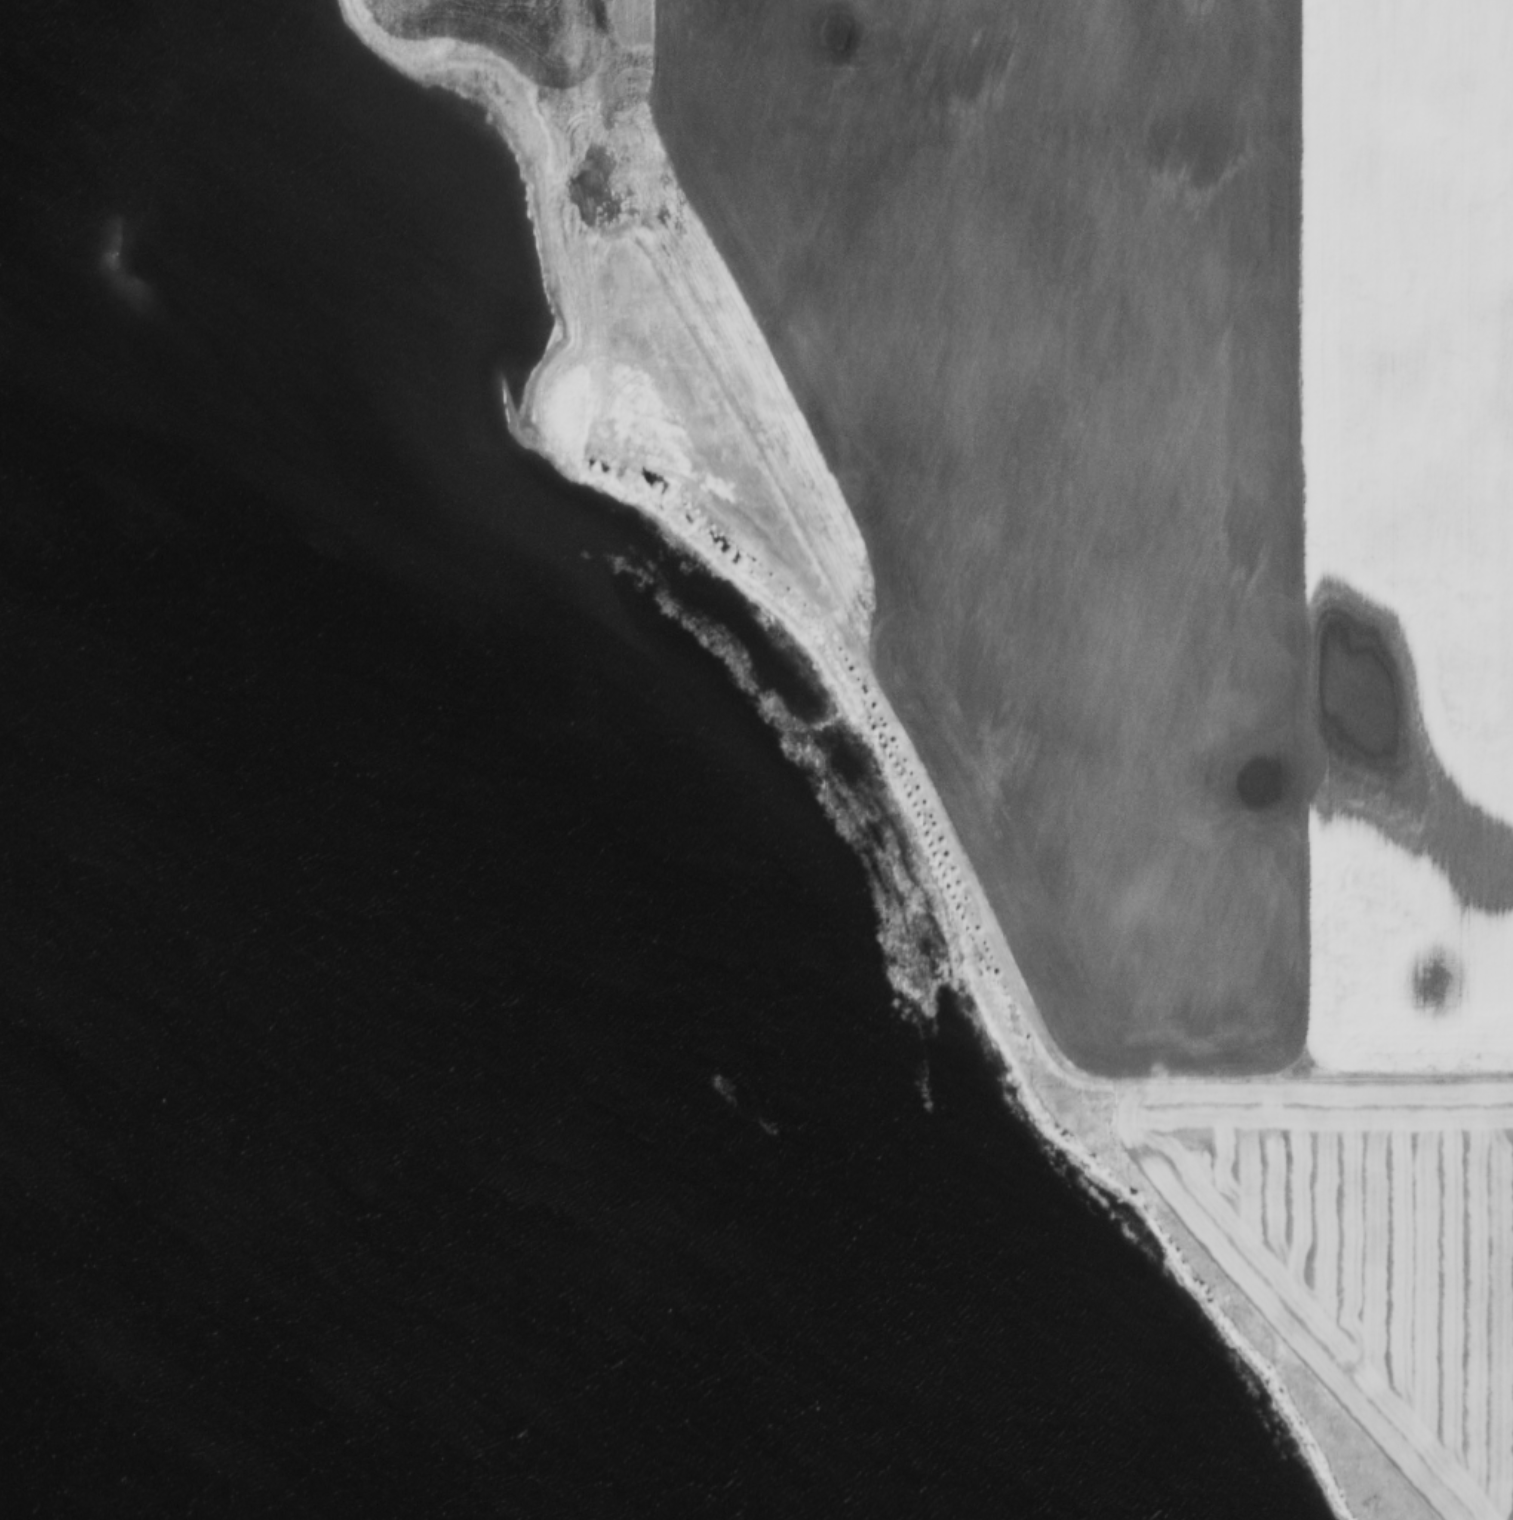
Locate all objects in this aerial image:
road: (1299, 1071)

